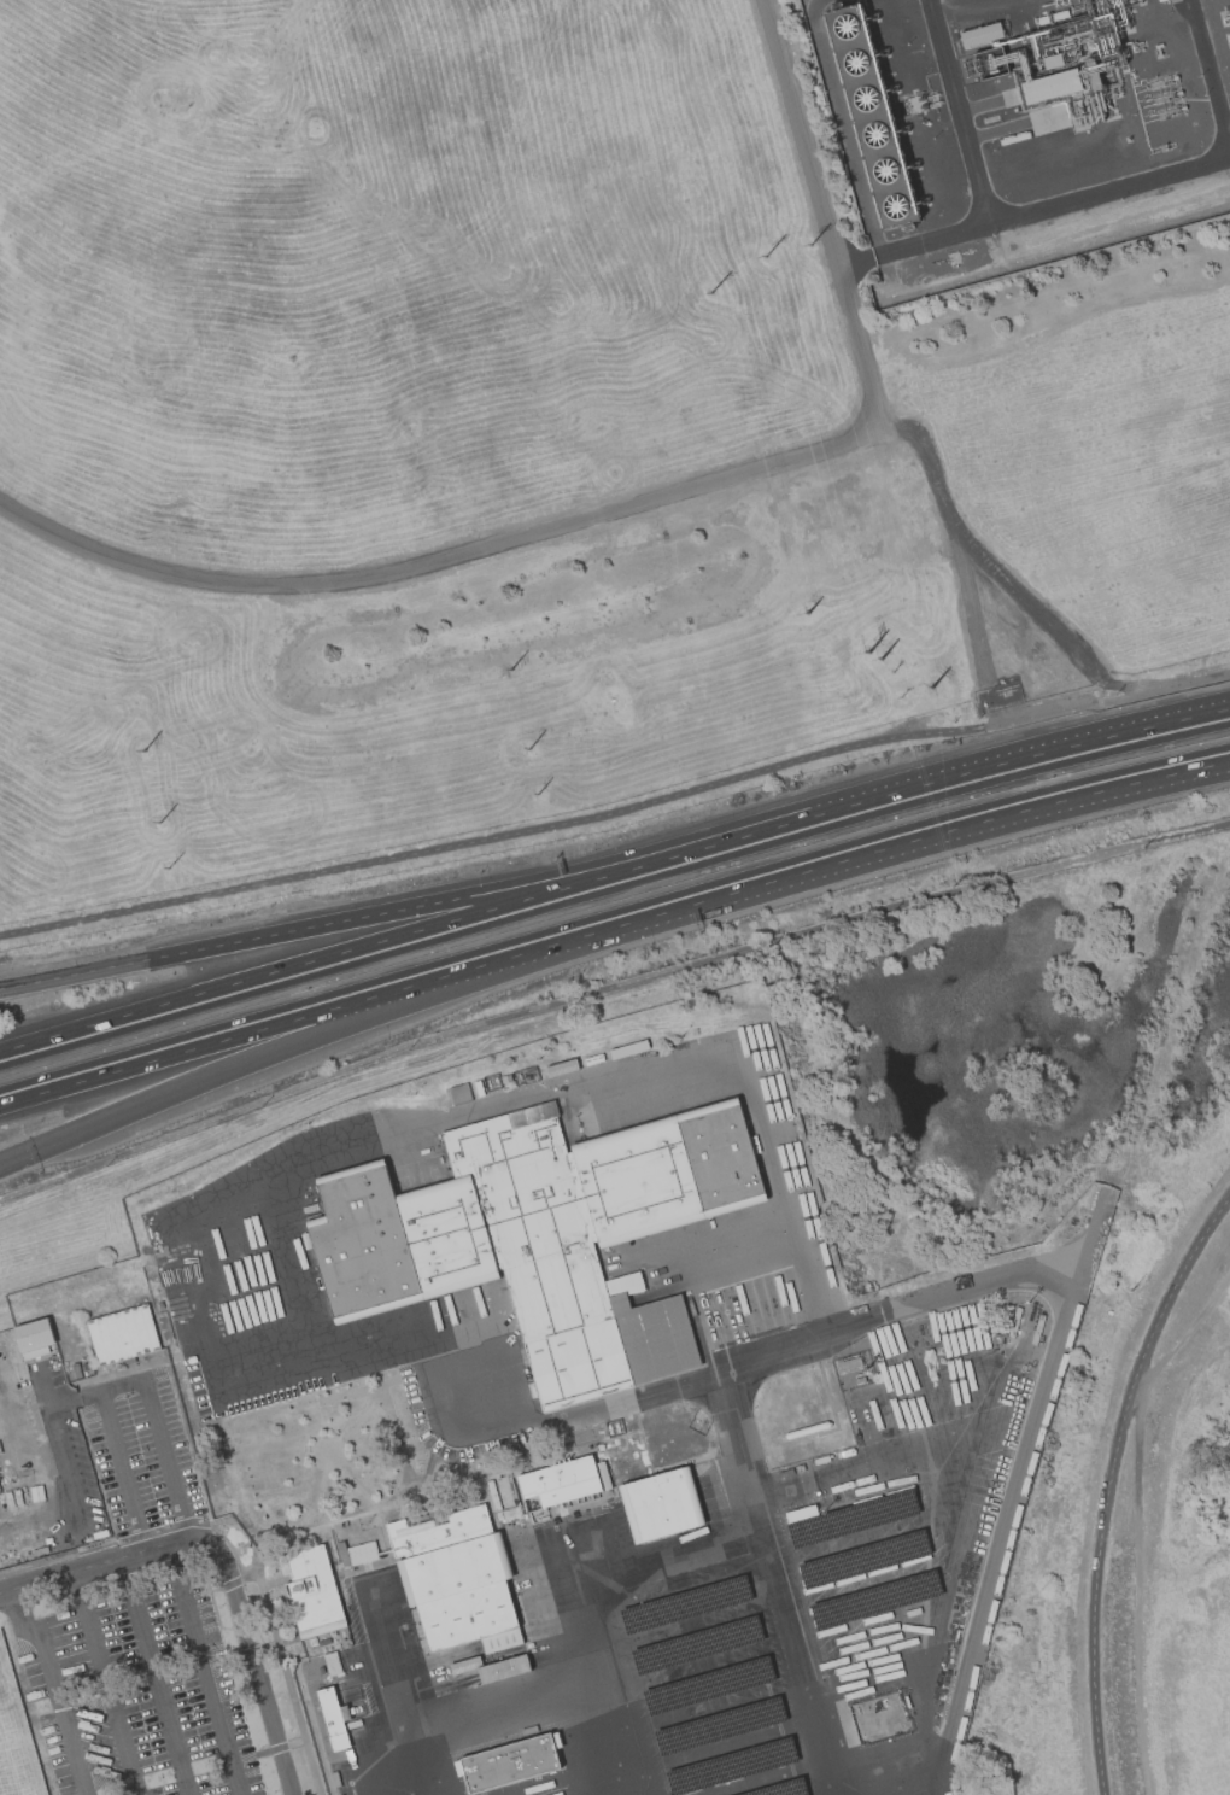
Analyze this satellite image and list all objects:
building: (980, 34)
building: (1052, 62)
road: (1207, 77)
road: (960, 110)
building: (869, 122)
power plant: (1023, 129)
road: (1111, 187)
road: (935, 239)
power tower: (812, 246)
road: (857, 264)
crop: (1082, 484)
road: (657, 499)
power tower: (807, 612)
power tower: (879, 659)
power tower: (509, 670)
power tower: (931, 690)
power tower: (533, 747)
power tower: (146, 750)
road: (1017, 767)
power tower: (537, 795)
road: (615, 807)
road: (1004, 813)
power tower: (156, 820)
power tower: (168, 869)
road: (403, 911)
road: (403, 940)
road: (553, 943)
road: (607, 990)
building: (629, 1049)
road: (162, 1056)
building: (562, 1068)
building: (506, 1078)
road: (174, 1086)
building: (459, 1093)
road: (11, 1162)
building: (541, 1234)
building: (123, 1335)
building: (35, 1338)
road: (778, 1352)
building: (76, 1370)
road: (634, 1399)
road: (151, 1414)
road: (58, 1446)
building: (786, 1473)
road: (122, 1474)
building: (604, 1474)
road: (1108, 1480)
building: (560, 1484)
building: (661, 1504)
building: (510, 1514)
road: (1135, 1515)
building: (851, 1519)
building: (40, 1551)
building: (344, 1554)
building: (862, 1559)
road: (104, 1565)
building: (457, 1580)
road: (10, 1588)
building: (312, 1592)
building: (875, 1598)
building: (685, 1603)
building: (913, 1612)
building: (697, 1643)
road: (251, 1656)
building: (332, 1664)
building: (492, 1667)
road: (207, 1671)
road: (156, 1678)
road: (107, 1683)
building: (708, 1685)
road: (52, 1690)
building: (334, 1718)
building: (353, 1724)
building: (720, 1724)
building: (510, 1762)
building: (730, 1765)
building: (335, 1778)
road: (371, 1783)
building: (781, 1788)

